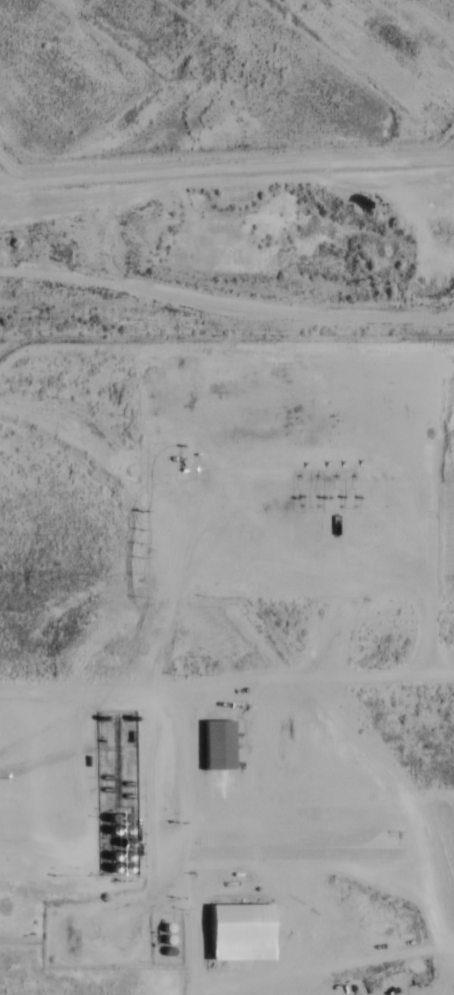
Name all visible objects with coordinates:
road: (249, 679)
building: (236, 931)

